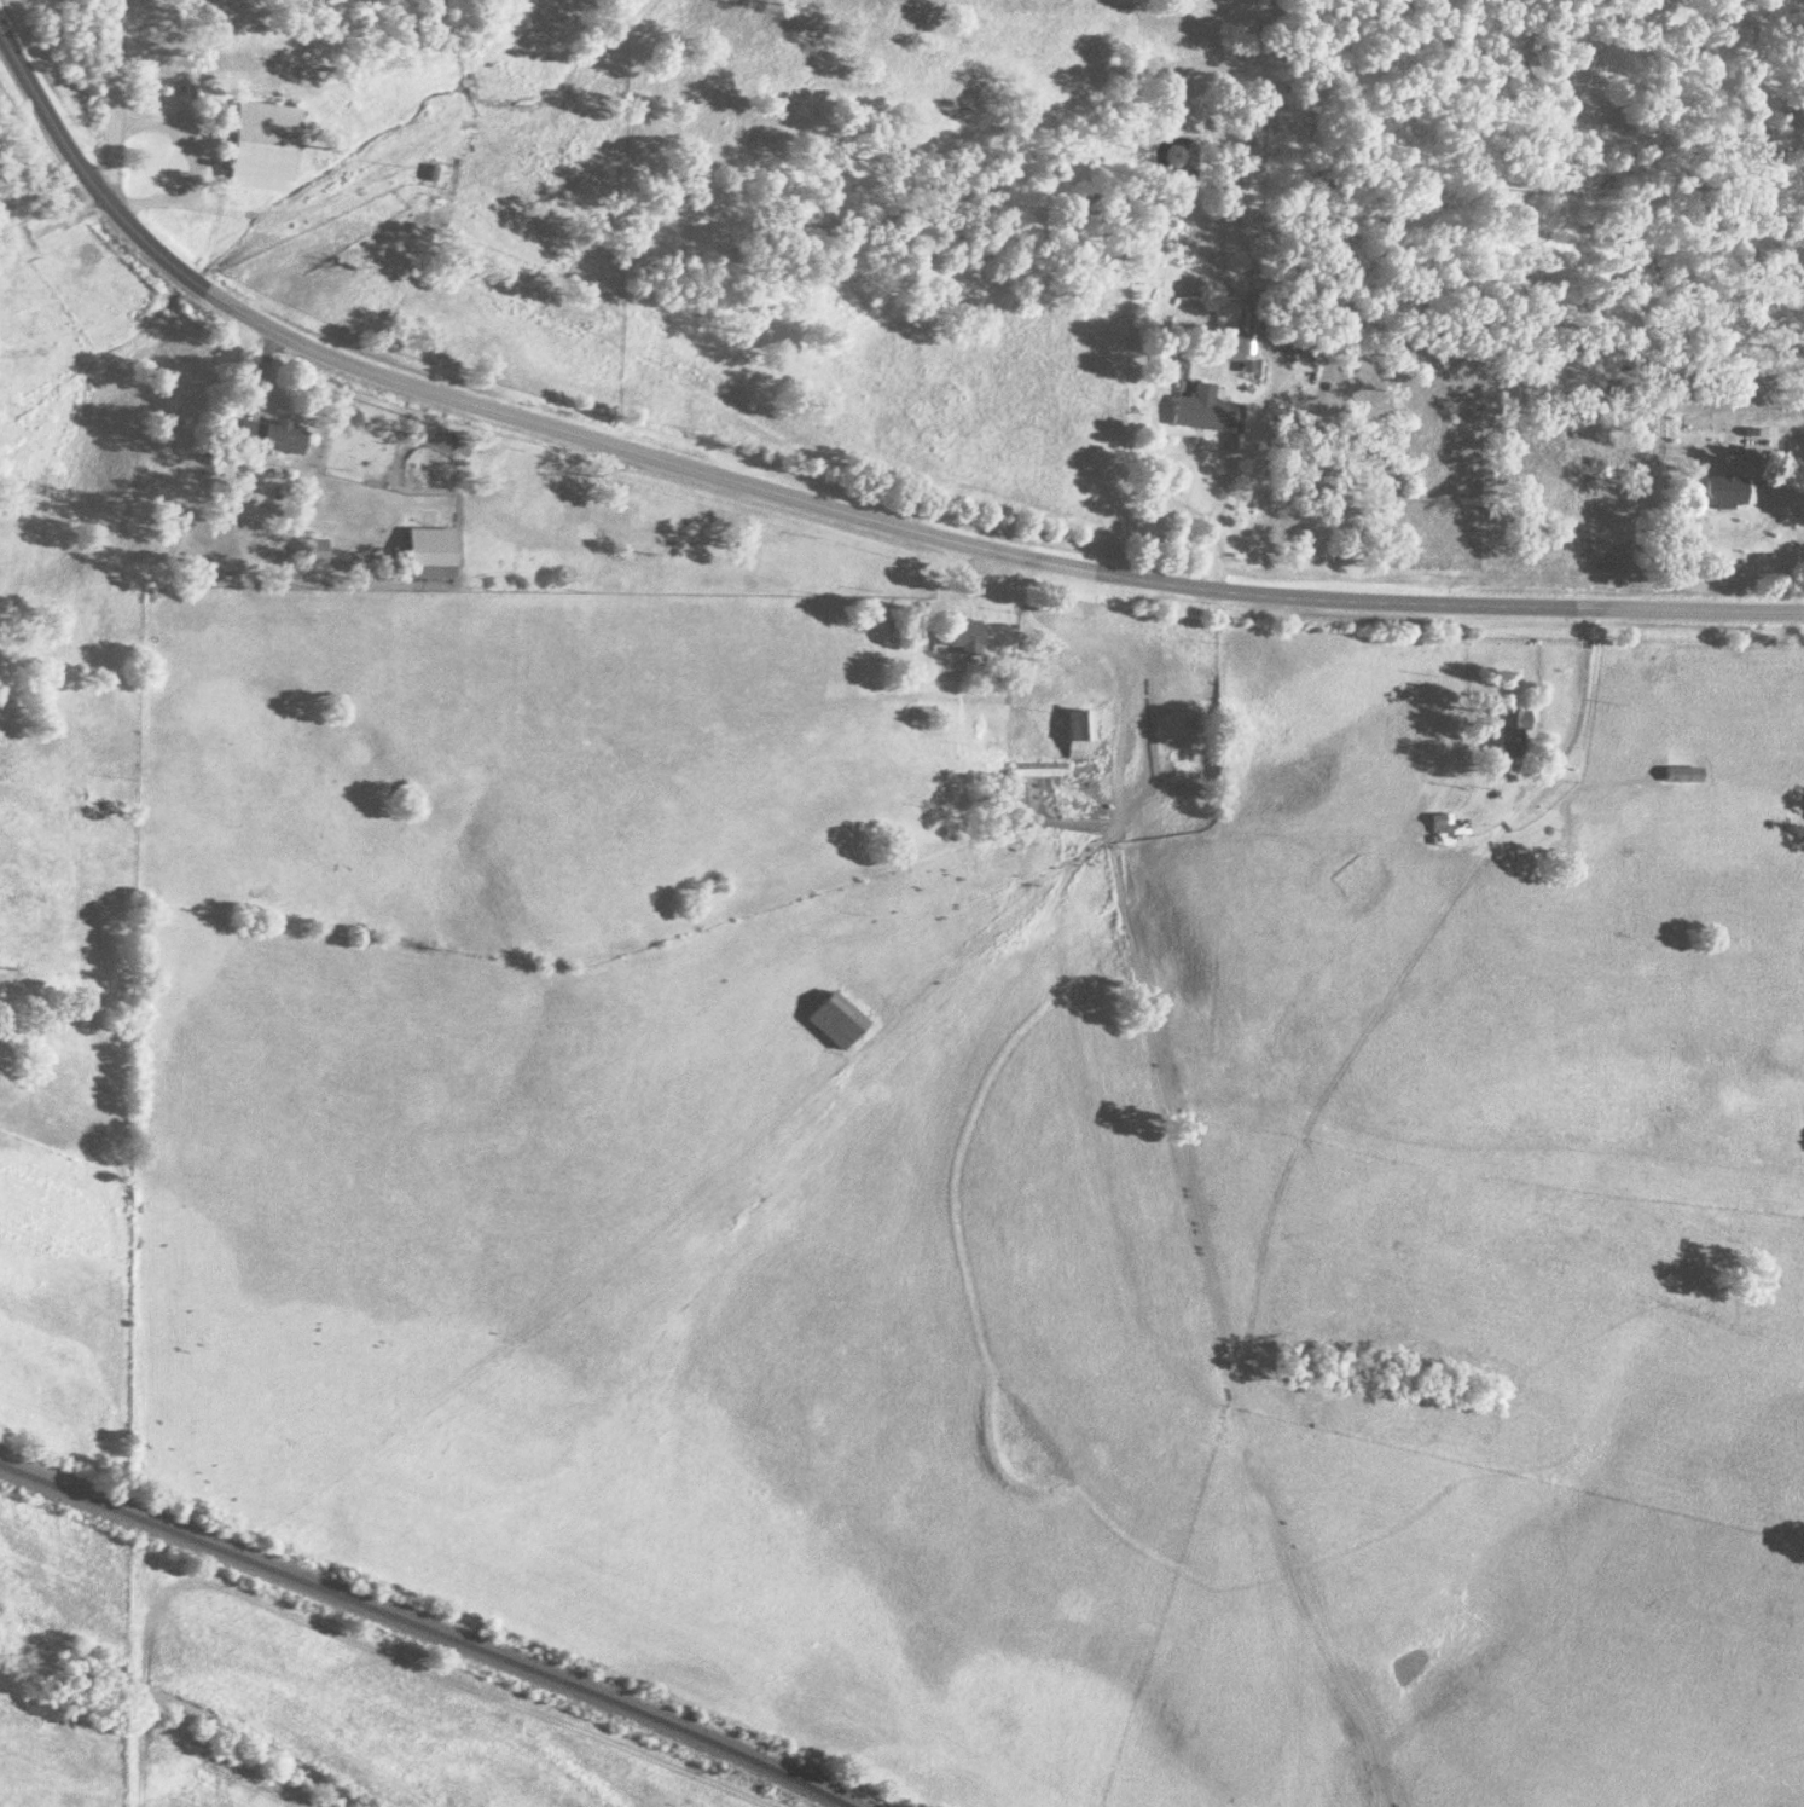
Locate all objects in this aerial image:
road: (114, 100)
building: (267, 146)
building: (1228, 348)
building: (1203, 412)
building: (282, 440)
building: (1725, 492)
road: (823, 509)
road: (1210, 527)
building: (317, 552)
building: (433, 554)
building: (963, 637)
building: (1081, 736)
building: (1512, 736)
building: (1038, 770)
building: (1437, 824)
building: (836, 1023)
railway: (418, 1628)

